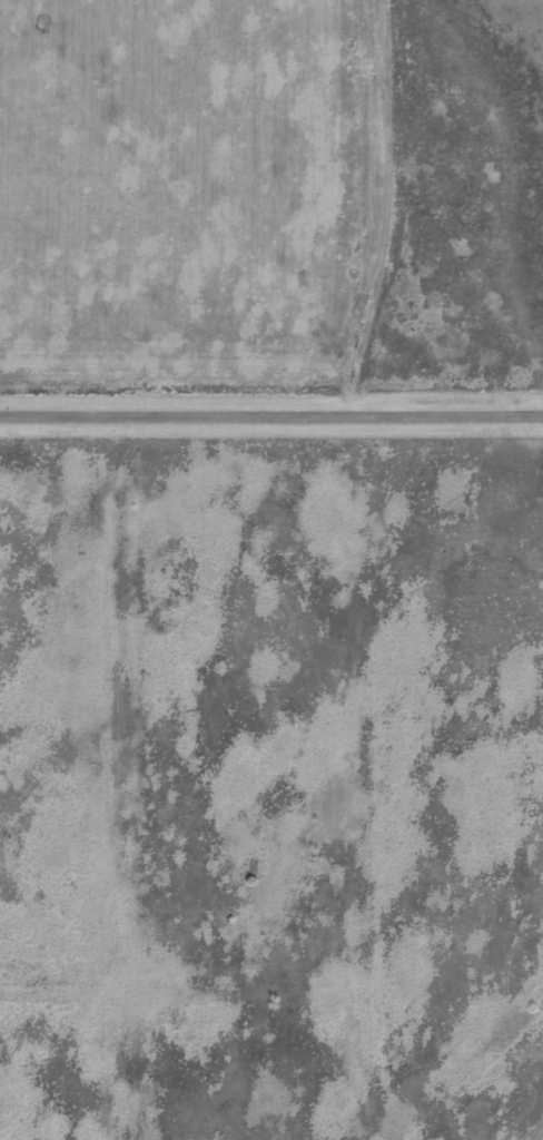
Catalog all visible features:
road: (271, 413)
road: (125, 776)
road: (364, 776)
road: (182, 981)
road: (471, 1068)

